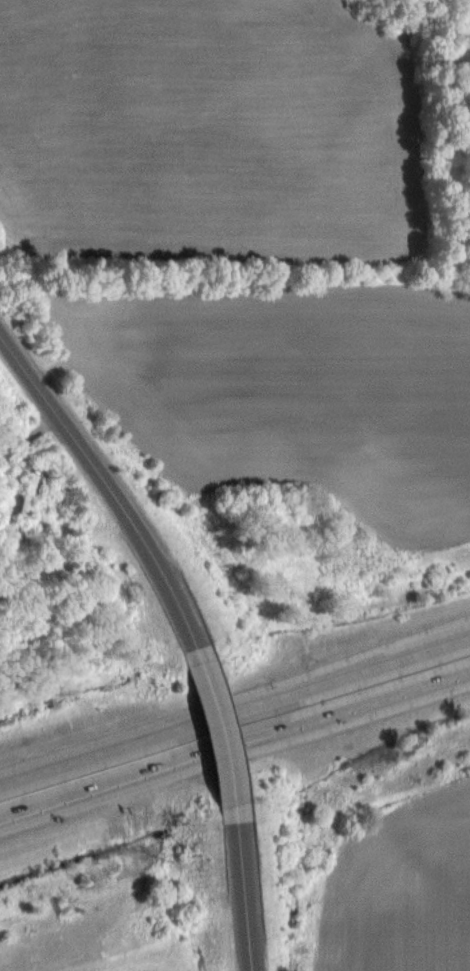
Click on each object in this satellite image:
crop: (246, 244)
road: (107, 485)
building: (24, 501)
road: (235, 711)
road: (221, 733)
road: (235, 747)
crop: (402, 890)
road: (243, 896)

